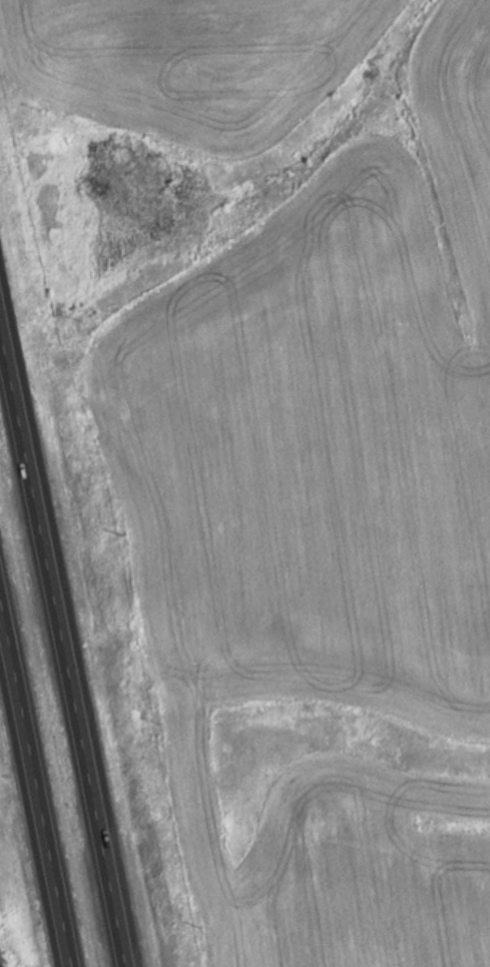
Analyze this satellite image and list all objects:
road: (63, 646)
road: (36, 776)

